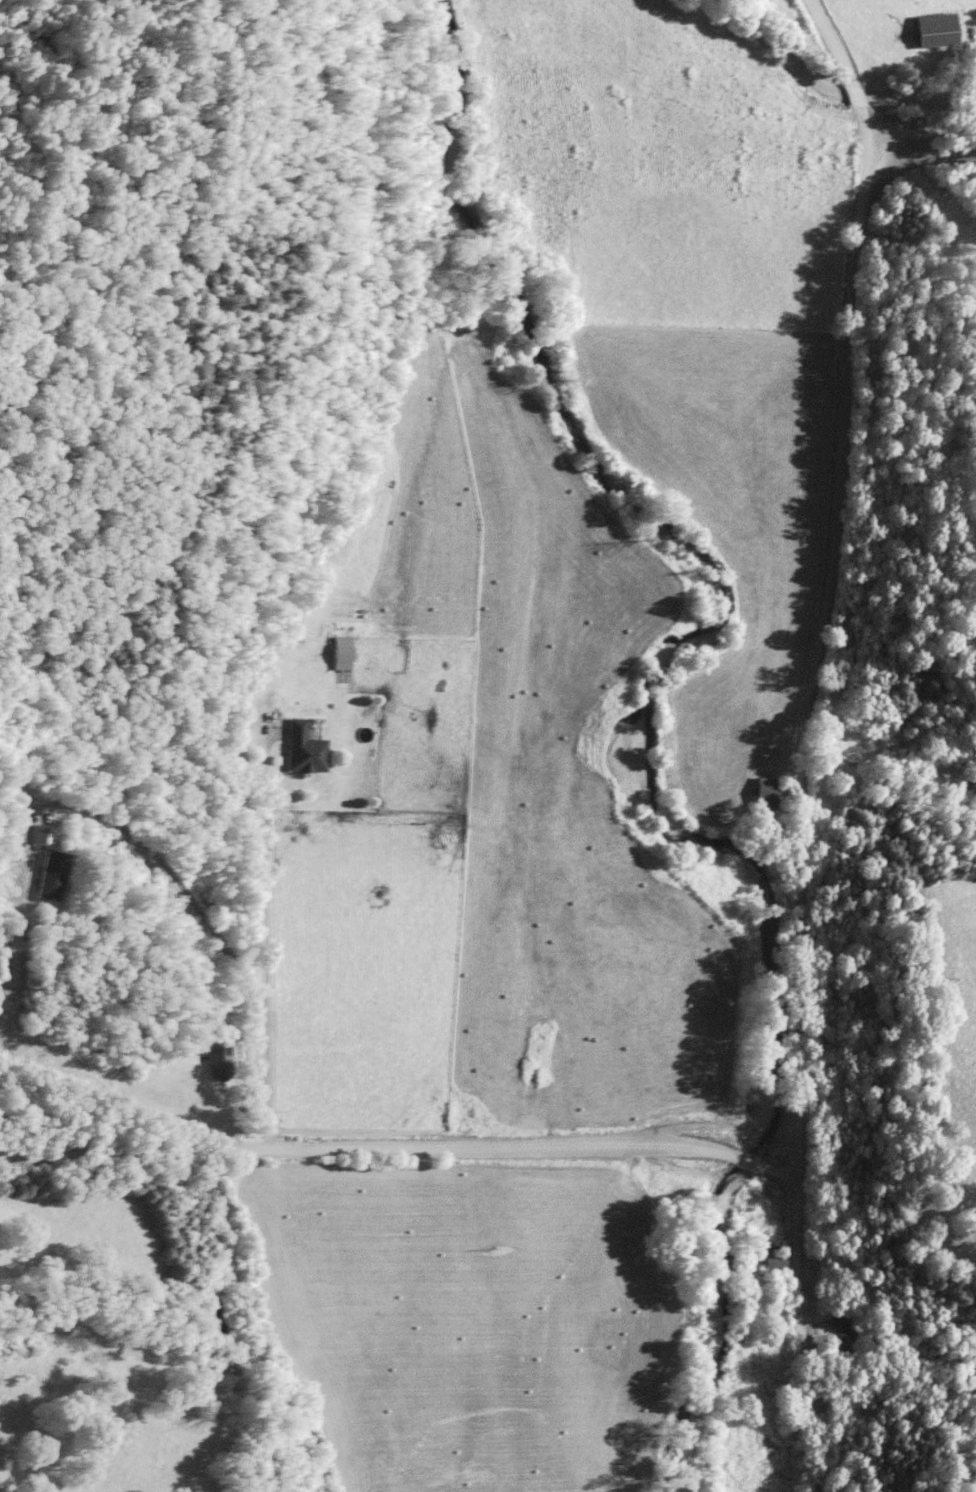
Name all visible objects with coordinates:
building: (928, 30)
road: (922, 129)
road: (924, 157)
road: (833, 590)
building: (334, 652)
building: (295, 748)
building: (760, 793)
building: (36, 834)
building: (43, 874)
road: (164, 876)
road: (259, 935)
building: (212, 1061)
road: (405, 1147)
building: (763, 1260)
building: (835, 1333)
road: (806, 1342)

